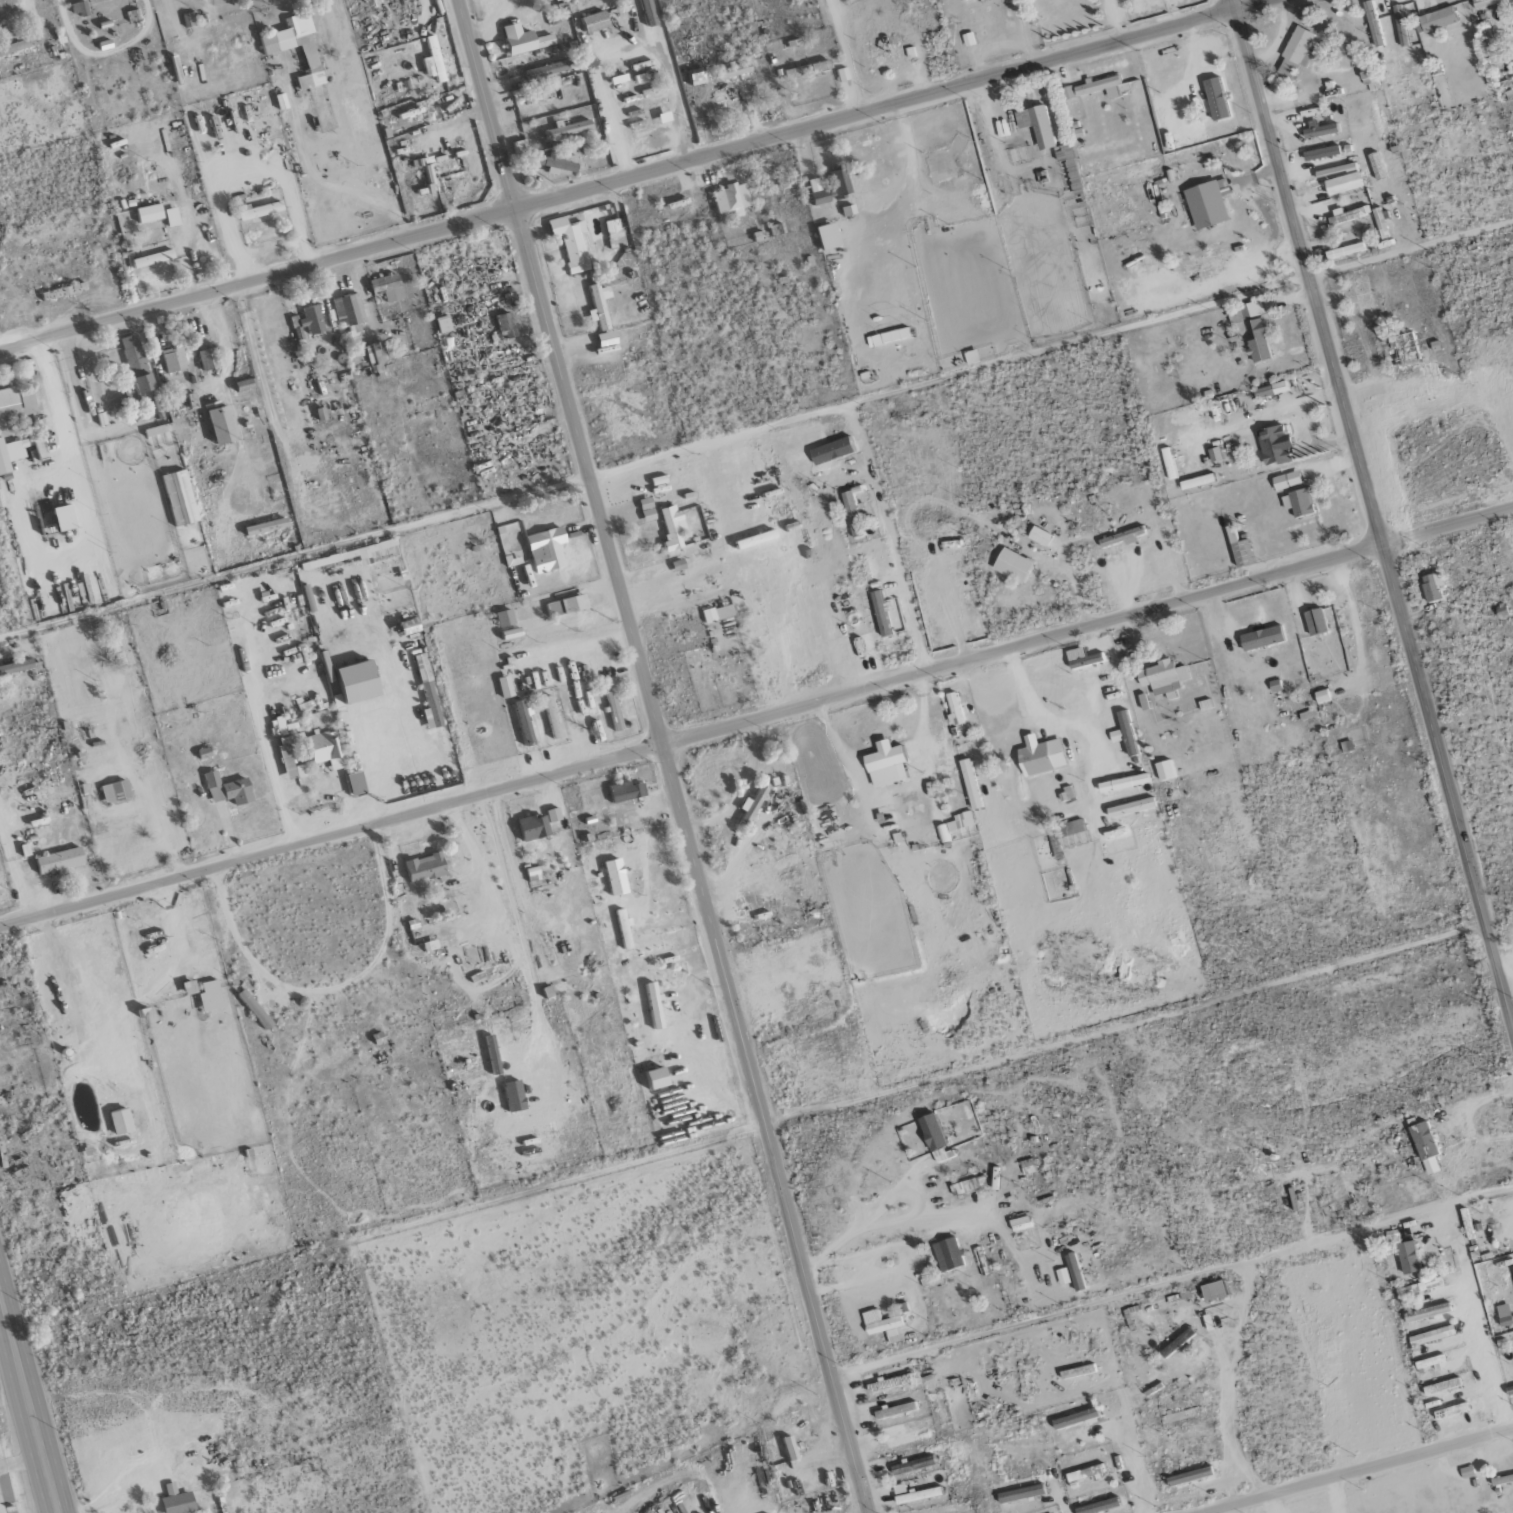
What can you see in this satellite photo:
building: (1492, 3)
building: (75, 9)
building: (644, 12)
building: (1436, 20)
building: (590, 21)
building: (1400, 26)
building: (518, 40)
building: (293, 47)
building: (881, 50)
building: (1296, 52)
road: (846, 57)
building: (429, 60)
building: (541, 70)
building: (729, 71)
building: (691, 78)
building: (1368, 78)
building: (1100, 86)
building: (536, 98)
building: (1215, 99)
building: (1036, 125)
building: (564, 129)
building: (1318, 130)
building: (516, 148)
building: (1321, 153)
building: (551, 163)
road: (637, 175)
building: (835, 184)
road: (336, 188)
building: (726, 199)
building: (1207, 203)
building: (255, 211)
building: (145, 213)
building: (1348, 215)
building: (168, 217)
building: (568, 242)
building: (1344, 251)
building: (148, 259)
building: (382, 288)
building: (595, 305)
building: (1245, 311)
building: (347, 313)
building: (308, 320)
building: (501, 325)
building: (601, 338)
building: (1259, 341)
building: (135, 355)
building: (207, 359)
building: (175, 360)
building: (146, 383)
building: (247, 385)
building: (1268, 390)
building: (16, 404)
building: (322, 414)
building: (224, 425)
building: (1273, 444)
building: (12, 453)
building: (1214, 454)
building: (1168, 463)
building: (1286, 480)
building: (1197, 481)
building: (181, 498)
building: (1298, 502)
building: (643, 509)
road: (1372, 511)
building: (852, 514)
building: (58, 519)
building: (667, 525)
building: (268, 526)
building: (1038, 535)
building: (1121, 537)
building: (541, 549)
building: (1012, 565)
building: (1432, 586)
building: (561, 606)
building: (714, 613)
building: (880, 613)
building: (500, 618)
building: (1314, 621)
building: (1262, 638)
building: (120, 653)
building: (1085, 661)
building: (17, 667)
building: (418, 667)
building: (1162, 677)
building: (350, 681)
building: (1322, 696)
building: (428, 704)
building: (953, 708)
building: (610, 710)
building: (548, 717)
road: (756, 719)
building: (520, 723)
road: (1083, 726)
building: (1124, 733)
building: (319, 748)
road: (663, 756)
building: (1040, 756)
building: (885, 764)
building: (284, 768)
road: (237, 769)
road: (270, 770)
building: (1164, 770)
road: (329, 780)
building: (351, 783)
building: (1123, 783)
building: (229, 790)
building: (622, 791)
building: (116, 792)
building: (749, 807)
building: (1130, 808)
building: (549, 814)
building: (955, 825)
building: (527, 827)
building: (1065, 830)
building: (61, 860)
building: (419, 867)
building: (610, 877)
building: (619, 929)
road: (258, 995)
building: (5, 999)
building: (256, 1009)
building: (488, 1055)
building: (649, 1078)
building: (121, 1121)
building: (931, 1132)
building: (1424, 1147)
building: (968, 1185)
building: (1020, 1223)
building: (1512, 1225)
building: (947, 1254)
building: (1407, 1257)
building: (1075, 1275)
building: (1423, 1285)
building: (1213, 1290)
building: (1426, 1312)
building: (1503, 1314)
building: (882, 1325)
building: (1431, 1335)
building: (1429, 1363)
building: (1441, 1386)
road: (31, 1396)
building: (895, 1410)
building: (1450, 1411)
building: (1075, 1419)
building: (904, 1437)
building: (784, 1447)
building: (912, 1465)
road: (1135, 1468)
road: (1358, 1471)
building: (1085, 1473)
building: (1189, 1476)
building: (1020, 1493)
building: (913, 1494)
building: (173, 1503)
building: (1098, 1506)
building: (954, 1512)

